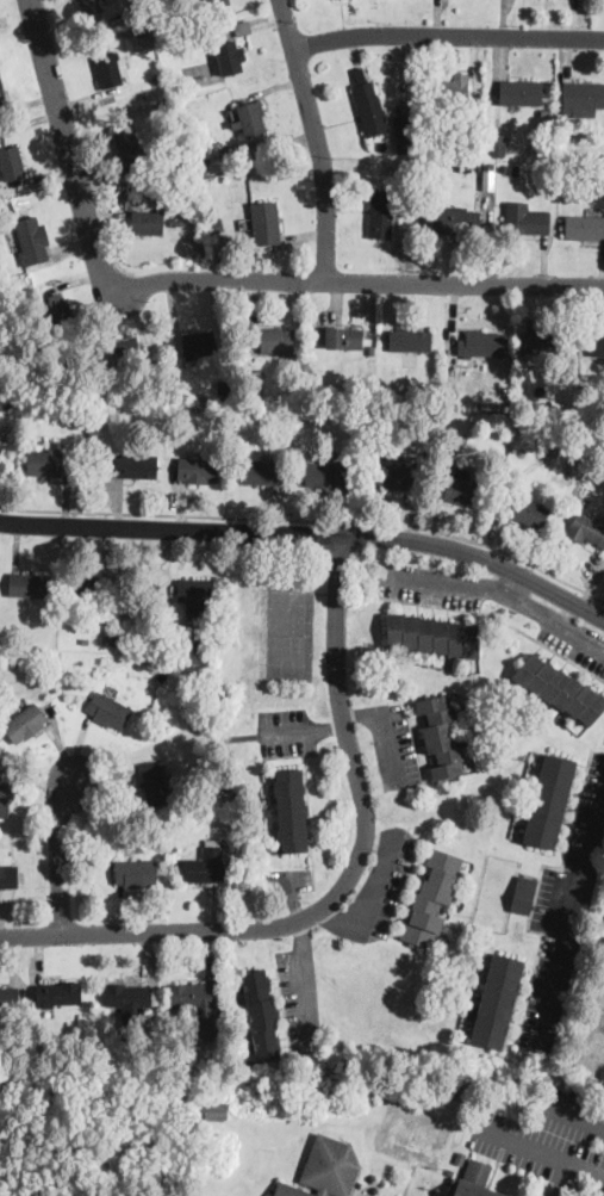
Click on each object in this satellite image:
building: (212, 1)
building: (91, 5)
road: (448, 33)
building: (228, 55)
building: (108, 72)
building: (454, 88)
building: (521, 91)
building: (2, 92)
building: (583, 93)
building: (369, 104)
building: (250, 116)
building: (404, 131)
road: (317, 137)
building: (498, 142)
building: (129, 147)
building: (11, 161)
building: (488, 174)
building: (380, 211)
building: (525, 217)
building: (454, 218)
building: (147, 219)
building: (264, 222)
building: (584, 225)
building: (30, 238)
road: (208, 278)
building: (55, 308)
building: (343, 336)
building: (409, 337)
building: (275, 339)
building: (536, 340)
building: (198, 341)
building: (484, 342)
building: (597, 342)
building: (118, 347)
building: (0, 446)
building: (43, 460)
building: (135, 464)
building: (197, 469)
building: (259, 469)
building: (324, 473)
building: (393, 476)
building: (463, 487)
building: (527, 509)
road: (310, 519)
building: (587, 528)
road: (310, 532)
road: (510, 580)
building: (29, 582)
building: (87, 588)
road: (500, 588)
building: (195, 593)
road: (497, 615)
park: (288, 633)
building: (432, 633)
building: (560, 687)
building: (107, 708)
building: (25, 720)
road: (304, 730)
road: (385, 730)
building: (441, 736)
building: (154, 781)
building: (4, 794)
building: (548, 799)
building: (291, 808)
road: (60, 851)
building: (204, 863)
building: (135, 870)
building: (8, 874)
road: (343, 882)
building: (523, 893)
road: (373, 894)
building: (431, 897)
road: (569, 916)
road: (305, 983)
building: (57, 992)
building: (8, 993)
building: (192, 994)
building: (130, 996)
building: (497, 999)
building: (262, 1012)
parking lot: (598, 1012)
building: (216, 1108)
road: (575, 1115)
parking lot: (550, 1138)
road: (541, 1151)
building: (324, 1170)
road: (561, 1178)
building: (478, 1179)

